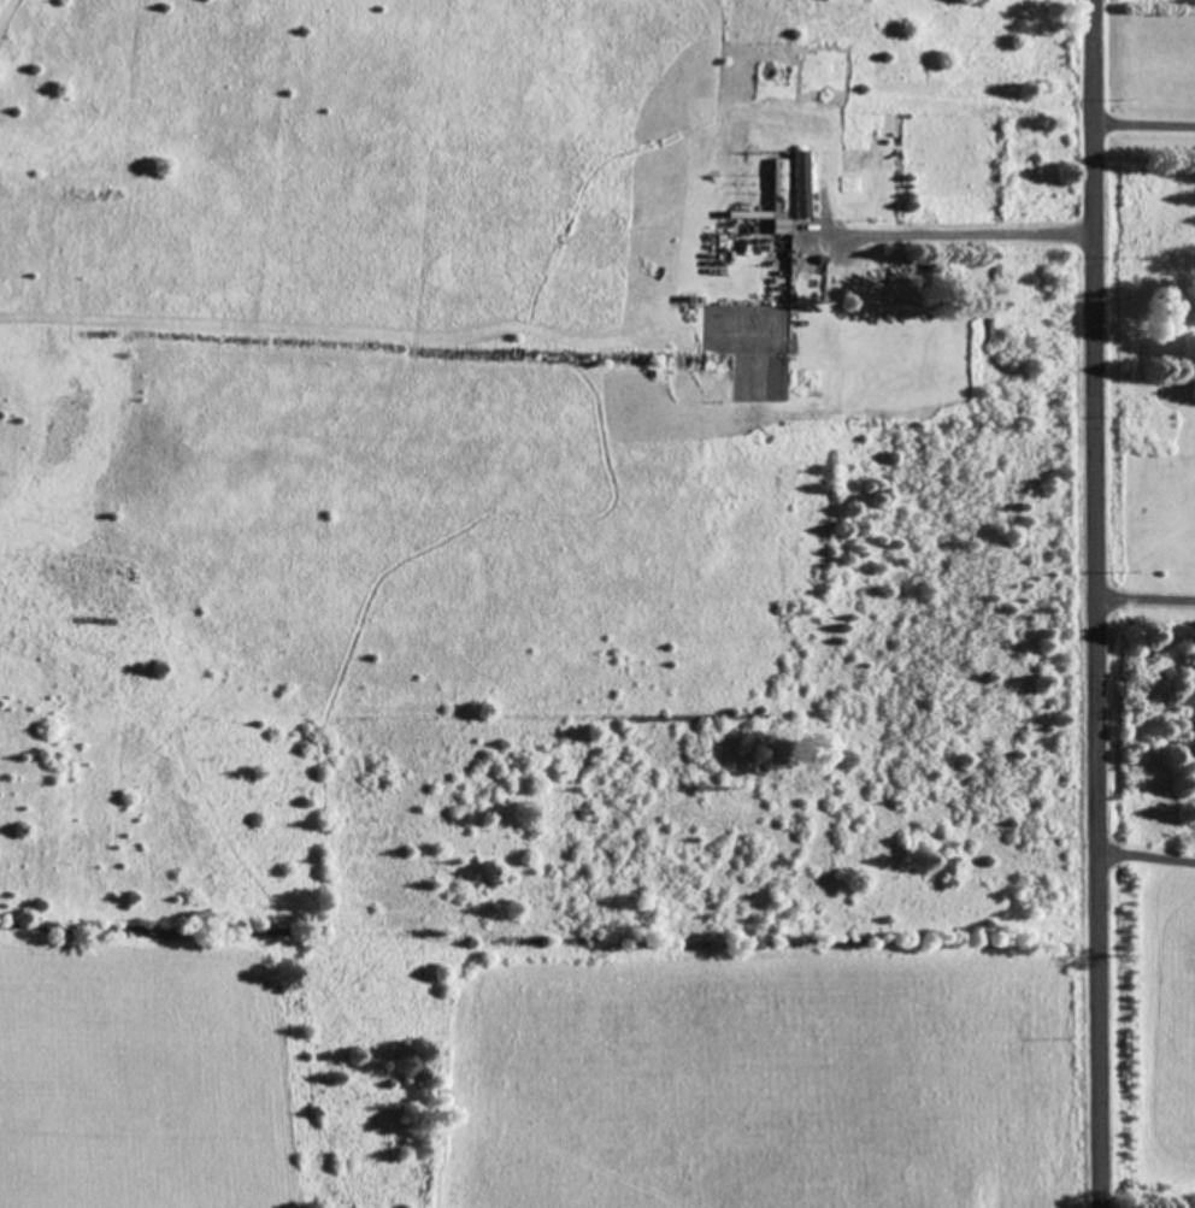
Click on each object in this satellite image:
building: (802, 181)
building: (781, 184)
road: (1095, 603)

